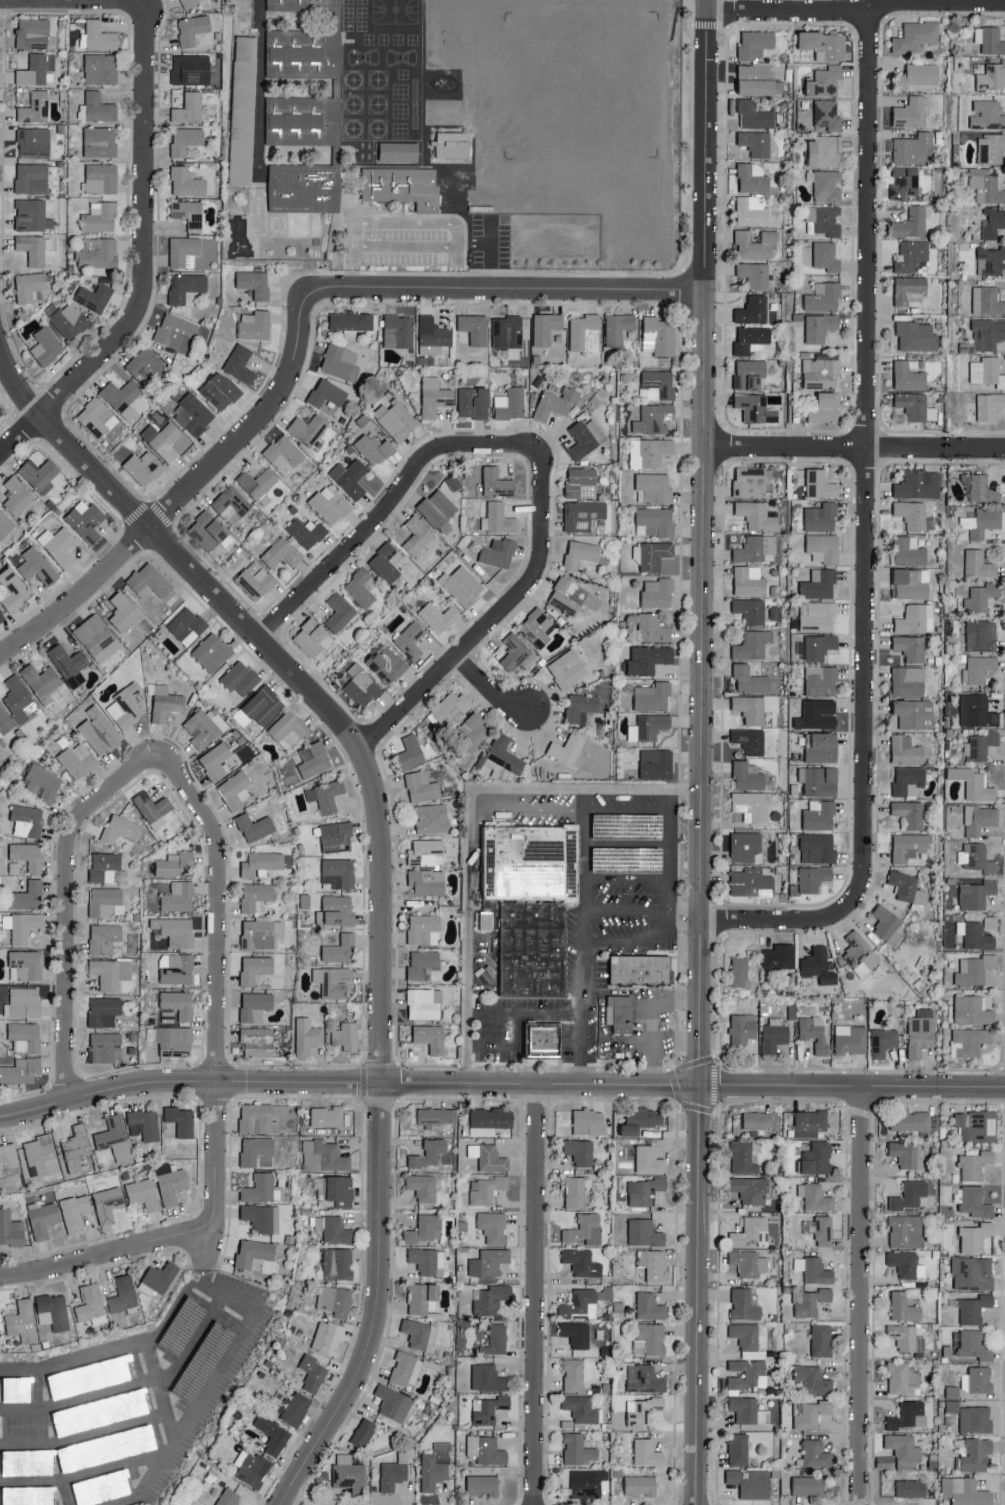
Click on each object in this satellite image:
road: (136, 1)
building: (190, 2)
building: (303, 7)
road: (856, 11)
building: (192, 28)
building: (31, 30)
building: (98, 36)
building: (915, 36)
building: (989, 39)
building: (755, 44)
building: (825, 44)
building: (303, 57)
building: (101, 68)
building: (191, 69)
building: (35, 71)
building: (918, 75)
building: (992, 77)
building: (758, 80)
building: (825, 81)
building: (35, 107)
building: (97, 107)
building: (189, 108)
building: (910, 113)
building: (827, 114)
building: (986, 114)
building: (754, 115)
building: (243, 116)
building: (302, 125)
building: (186, 139)
building: (34, 142)
building: (99, 142)
building: (755, 142)
building: (452, 144)
building: (911, 148)
building: (991, 148)
building: (399, 151)
building: (825, 151)
building: (32, 178)
building: (101, 178)
building: (752, 178)
building: (187, 182)
building: (904, 182)
building: (826, 185)
building: (400, 188)
building: (987, 188)
building: (303, 190)
building: (518, 202)
building: (752, 211)
building: (188, 213)
building: (32, 214)
building: (99, 217)
building: (823, 220)
building: (911, 223)
building: (992, 223)
road: (406, 226)
parking lot: (426, 242)
building: (755, 244)
building: (33, 248)
road: (436, 248)
building: (184, 251)
building: (244, 251)
building: (97, 252)
road: (142, 254)
building: (826, 255)
building: (910, 255)
road: (492, 257)
building: (991, 260)
road: (352, 267)
road: (460, 268)
building: (754, 274)
building: (254, 283)
building: (186, 288)
road: (505, 288)
building: (910, 291)
building: (94, 296)
building: (823, 297)
building: (987, 301)
building: (752, 310)
building: (70, 320)
building: (353, 322)
building: (255, 325)
building: (617, 327)
building: (819, 327)
building: (474, 328)
building: (547, 328)
building: (398, 331)
building: (176, 332)
building: (507, 332)
building: (584, 332)
building: (987, 334)
building: (658, 335)
building: (433, 336)
building: (916, 336)
building: (751, 339)
building: (46, 345)
building: (343, 362)
building: (146, 363)
building: (240, 363)
building: (821, 370)
building: (987, 371)
building: (750, 373)
building: (908, 376)
building: (658, 384)
building: (220, 392)
building: (327, 393)
building: (122, 397)
building: (434, 397)
building: (473, 402)
building: (510, 403)
building: (555, 403)
building: (988, 405)
building: (915, 406)
building: (755, 407)
building: (825, 408)
building: (1, 413)
building: (193, 413)
building: (96, 417)
building: (653, 418)
building: (396, 419)
building: (308, 428)
building: (585, 438)
building: (163, 440)
road: (853, 446)
building: (374, 448)
building: (649, 452)
building: (284, 454)
building: (144, 467)
building: (40, 474)
building: (350, 477)
building: (581, 481)
building: (257, 482)
building: (453, 482)
building: (749, 482)
building: (494, 483)
building: (820, 484)
building: (918, 484)
building: (654, 487)
building: (980, 488)
road: (183, 493)
building: (17, 496)
building: (231, 505)
building: (329, 505)
road: (382, 508)
building: (438, 510)
building: (912, 514)
building: (582, 515)
building: (757, 515)
building: (821, 517)
building: (498, 519)
building: (86, 521)
building: (654, 521)
building: (981, 522)
building: (5, 524)
building: (207, 531)
building: (306, 532)
road: (865, 535)
building: (418, 536)
road: (702, 543)
building: (59, 545)
building: (823, 548)
building: (756, 549)
building: (908, 551)
building: (281, 553)
building: (497, 553)
building: (651, 554)
building: (581, 555)
building: (385, 562)
building: (978, 564)
building: (37, 566)
building: (256, 580)
building: (749, 580)
building: (149, 581)
building: (910, 583)
building: (819, 584)
building: (463, 586)
building: (360, 588)
building: (12, 589)
building: (657, 592)
building: (981, 596)
building: (572, 597)
building: (750, 610)
building: (124, 611)
building: (339, 612)
building: (438, 616)
road: (494, 616)
building: (1, 617)
building: (819, 617)
building: (915, 619)
building: (187, 625)
building: (537, 627)
building: (651, 628)
building: (981, 635)
building: (97, 638)
building: (314, 638)
building: (410, 640)
building: (752, 645)
building: (816, 647)
building: (911, 647)
building: (212, 652)
building: (517, 653)
building: (648, 659)
building: (385, 663)
building: (69, 664)
building: (567, 669)
building: (977, 669)
road: (292, 673)
building: (750, 679)
building: (239, 680)
building: (820, 680)
building: (908, 681)
building: (41, 682)
building: (362, 685)
road: (489, 688)
building: (652, 696)
building: (19, 699)
building: (164, 702)
building: (126, 706)
building: (261, 707)
building: (452, 708)
building: (750, 709)
building: (976, 711)
building: (914, 713)
building: (815, 714)
building: (5, 721)
building: (205, 727)
building: (648, 727)
building: (288, 730)
building: (99, 731)
building: (474, 731)
building: (749, 740)
building: (821, 748)
building: (568, 750)
building: (906, 750)
building: (410, 752)
building: (503, 756)
building: (78, 760)
building: (216, 760)
building: (314, 760)
building: (656, 763)
building: (748, 776)
building: (908, 780)
building: (818, 781)
building: (43, 783)
building: (973, 784)
building: (421, 786)
building: (235, 789)
building: (326, 796)
road: (668, 801)
building: (750, 806)
building: (153, 809)
road: (567, 811)
building: (910, 813)
building: (818, 815)
building: (431, 817)
building: (980, 819)
building: (27, 820)
road: (467, 820)
building: (255, 827)
building: (120, 828)
building: (336, 837)
road: (627, 846)
building: (910, 846)
building: (746, 847)
building: (816, 847)
building: (426, 852)
building: (28, 855)
building: (977, 857)
road: (666, 863)
building: (175, 864)
building: (261, 865)
building: (530, 866)
building: (106, 867)
building: (338, 873)
building: (813, 878)
road: (626, 880)
building: (427, 881)
building: (751, 881)
building: (907, 887)
building: (976, 894)
road: (65, 895)
building: (256, 895)
building: (28, 896)
building: (178, 896)
building: (106, 902)
building: (336, 911)
road: (625, 912)
road: (681, 917)
building: (486, 920)
building: (990, 921)
building: (21, 926)
building: (889, 926)
building: (424, 929)
building: (175, 931)
building: (261, 933)
building: (975, 935)
road: (584, 937)
building: (104, 938)
road: (638, 942)
building: (340, 949)
building: (531, 953)
building: (860, 954)
building: (778, 958)
building: (423, 964)
building: (25, 965)
building: (818, 966)
building: (176, 968)
building: (255, 968)
building: (976, 970)
building: (739, 971)
building: (111, 972)
building: (639, 973)
building: (333, 981)
road: (216, 990)
building: (23, 1002)
building: (178, 1003)
building: (424, 1003)
building: (255, 1006)
building: (971, 1010)
building: (104, 1011)
road: (523, 1015)
building: (167, 1016)
building: (621, 1016)
road: (655, 1021)
building: (742, 1027)
building: (814, 1032)
building: (921, 1032)
building: (308, 1035)
building: (25, 1036)
building: (346, 1036)
building: (431, 1038)
building: (850, 1039)
building: (175, 1041)
building: (883, 1041)
building: (969, 1041)
building: (257, 1042)
building: (542, 1044)
building: (105, 1047)
road: (509, 1047)
building: (21, 1070)
road: (187, 1082)
road: (852, 1084)
road: (514, 1085)
road: (674, 1085)
traffic signals: (699, 1086)
building: (327, 1116)
building: (437, 1116)
building: (258, 1118)
building: (757, 1119)
building: (181, 1120)
building: (489, 1120)
building: (640, 1120)
building: (910, 1120)
building: (590, 1121)
building: (810, 1123)
building: (144, 1124)
building: (976, 1125)
building: (115, 1137)
building: (77, 1147)
building: (257, 1151)
building: (580, 1151)
building: (429, 1153)
building: (904, 1153)
building: (41, 1155)
building: (324, 1155)
building: (488, 1156)
building: (743, 1157)
building: (816, 1158)
building: (9, 1160)
building: (649, 1160)
building: (975, 1164)
building: (171, 1182)
building: (423, 1186)
building: (261, 1188)
building: (337, 1189)
building: (485, 1189)
building: (752, 1189)
building: (644, 1190)
building: (575, 1192)
building: (144, 1193)
building: (910, 1195)
building: (815, 1196)
building: (975, 1201)
building: (108, 1204)
building: (75, 1211)
building: (260, 1216)
building: (43, 1218)
building: (493, 1226)
building: (10, 1228)
building: (333, 1229)
building: (425, 1229)
building: (585, 1229)
building: (820, 1229)
building: (905, 1230)
building: (752, 1231)
building: (644, 1232)
building: (975, 1236)
building: (254, 1251)
road: (105, 1256)
building: (428, 1260)
building: (489, 1261)
building: (581, 1262)
building: (748, 1262)
building: (337, 1263)
building: (653, 1264)
building: (906, 1264)
building: (813, 1269)
building: (970, 1274)
building: (158, 1278)
building: (123, 1293)
road: (182, 1294)
road: (858, 1294)
road: (534, 1295)
road: (697, 1295)
road: (218, 1296)
building: (423, 1298)
building: (490, 1298)
building: (334, 1300)
building: (810, 1300)
building: (580, 1304)
building: (744, 1304)
building: (91, 1305)
building: (650, 1306)
road: (375, 1307)
building: (903, 1307)
building: (974, 1308)
building: (53, 1311)
building: (23, 1320)
building: (419, 1333)
building: (576, 1333)
building: (745, 1335)
building: (328, 1336)
building: (650, 1337)
building: (905, 1337)
building: (495, 1339)
building: (821, 1339)
building: (974, 1345)
road: (78, 1360)
building: (405, 1368)
building: (113, 1369)
building: (313, 1373)
building: (573, 1374)
building: (746, 1375)
building: (487, 1377)
building: (902, 1377)
building: (645, 1378)
building: (813, 1379)
building: (977, 1379)
building: (63, 1383)
road: (160, 1390)
parking lot: (129, 1398)
building: (952, 1398)
building: (393, 1402)
building: (296, 1408)
building: (488, 1408)
building: (580, 1408)
building: (642, 1409)
building: (746, 1409)
building: (810, 1413)
building: (909, 1415)
building: (975, 1419)
building: (69, 1420)
building: (363, 1432)
road: (84, 1434)
building: (273, 1434)
building: (578, 1449)
building: (738, 1449)
building: (486, 1450)
building: (904, 1450)
building: (646, 1452)
building: (814, 1452)
building: (975, 1453)
building: (435, 1466)
building: (252, 1467)
road: (84, 1473)
building: (349, 1473)
building: (393, 1473)
building: (118, 1482)
building: (586, 1482)
building: (750, 1483)
building: (483, 1484)
building: (640, 1485)
building: (807, 1485)
building: (911, 1488)
building: (965, 1491)
building: (229, 1497)
road: (120, 1500)

